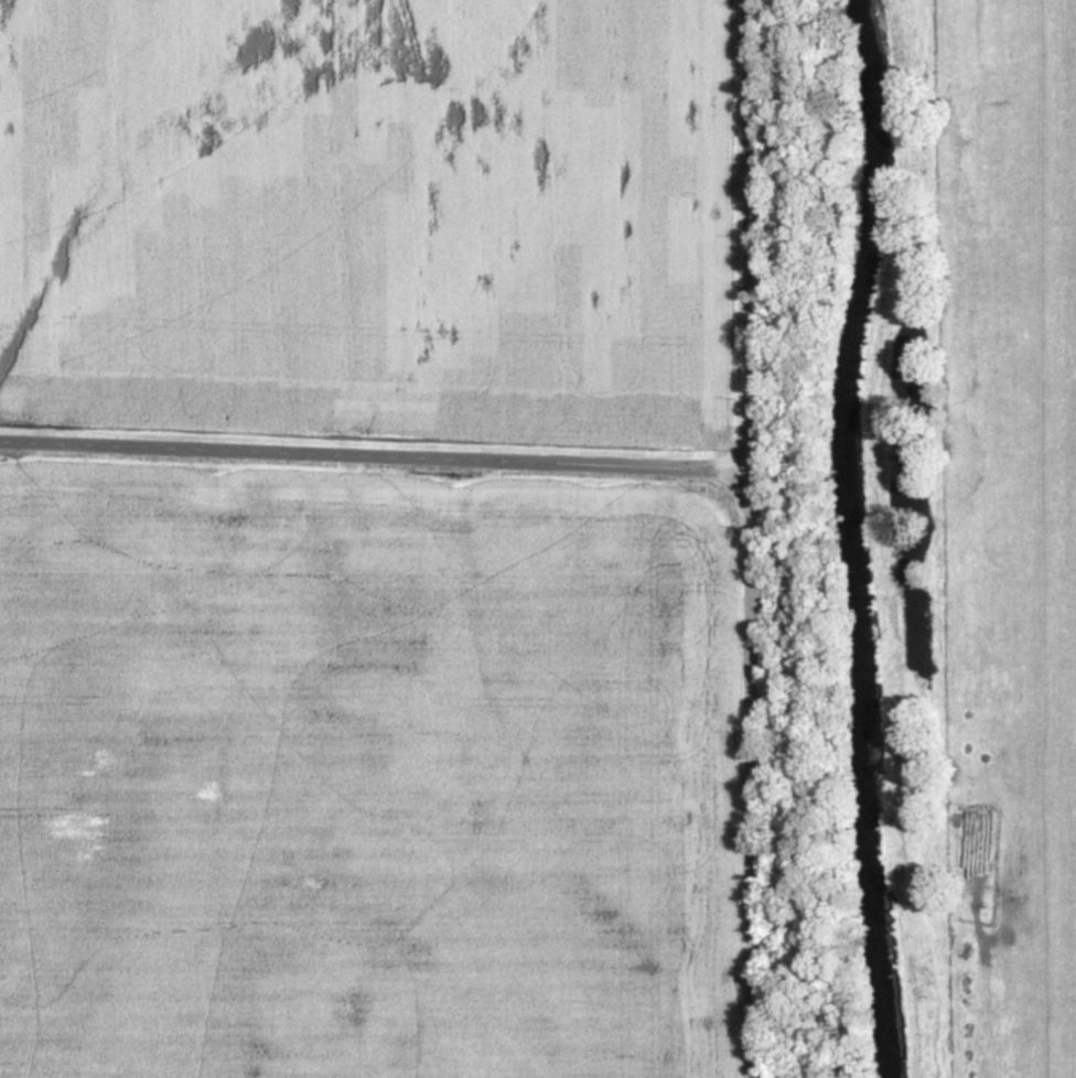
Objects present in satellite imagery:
road: (376, 454)
road: (752, 539)

